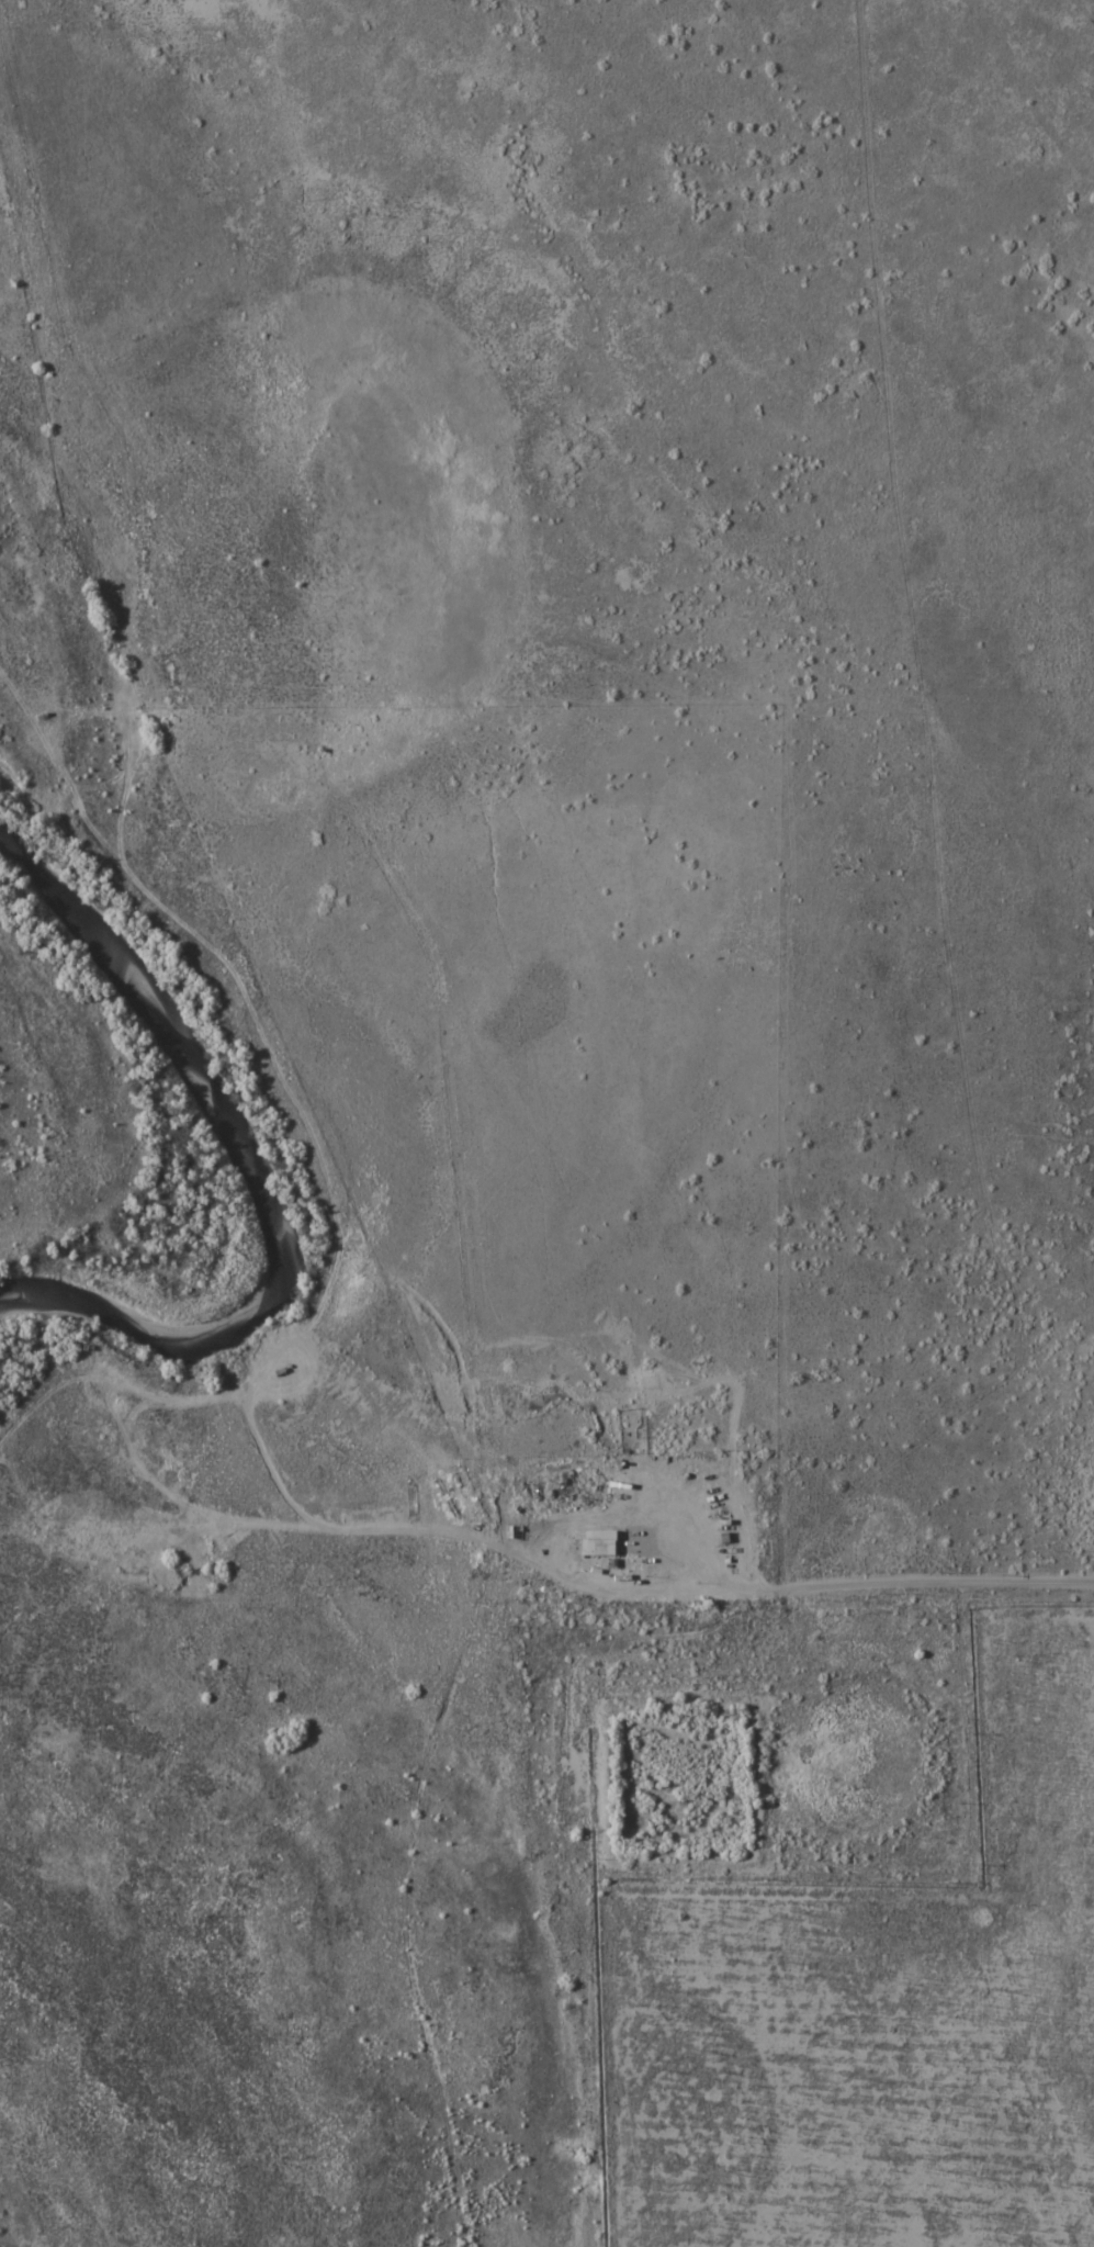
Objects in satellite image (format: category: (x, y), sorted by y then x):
river: (252, 1179)
building: (630, 1548)
road: (1029, 1589)

